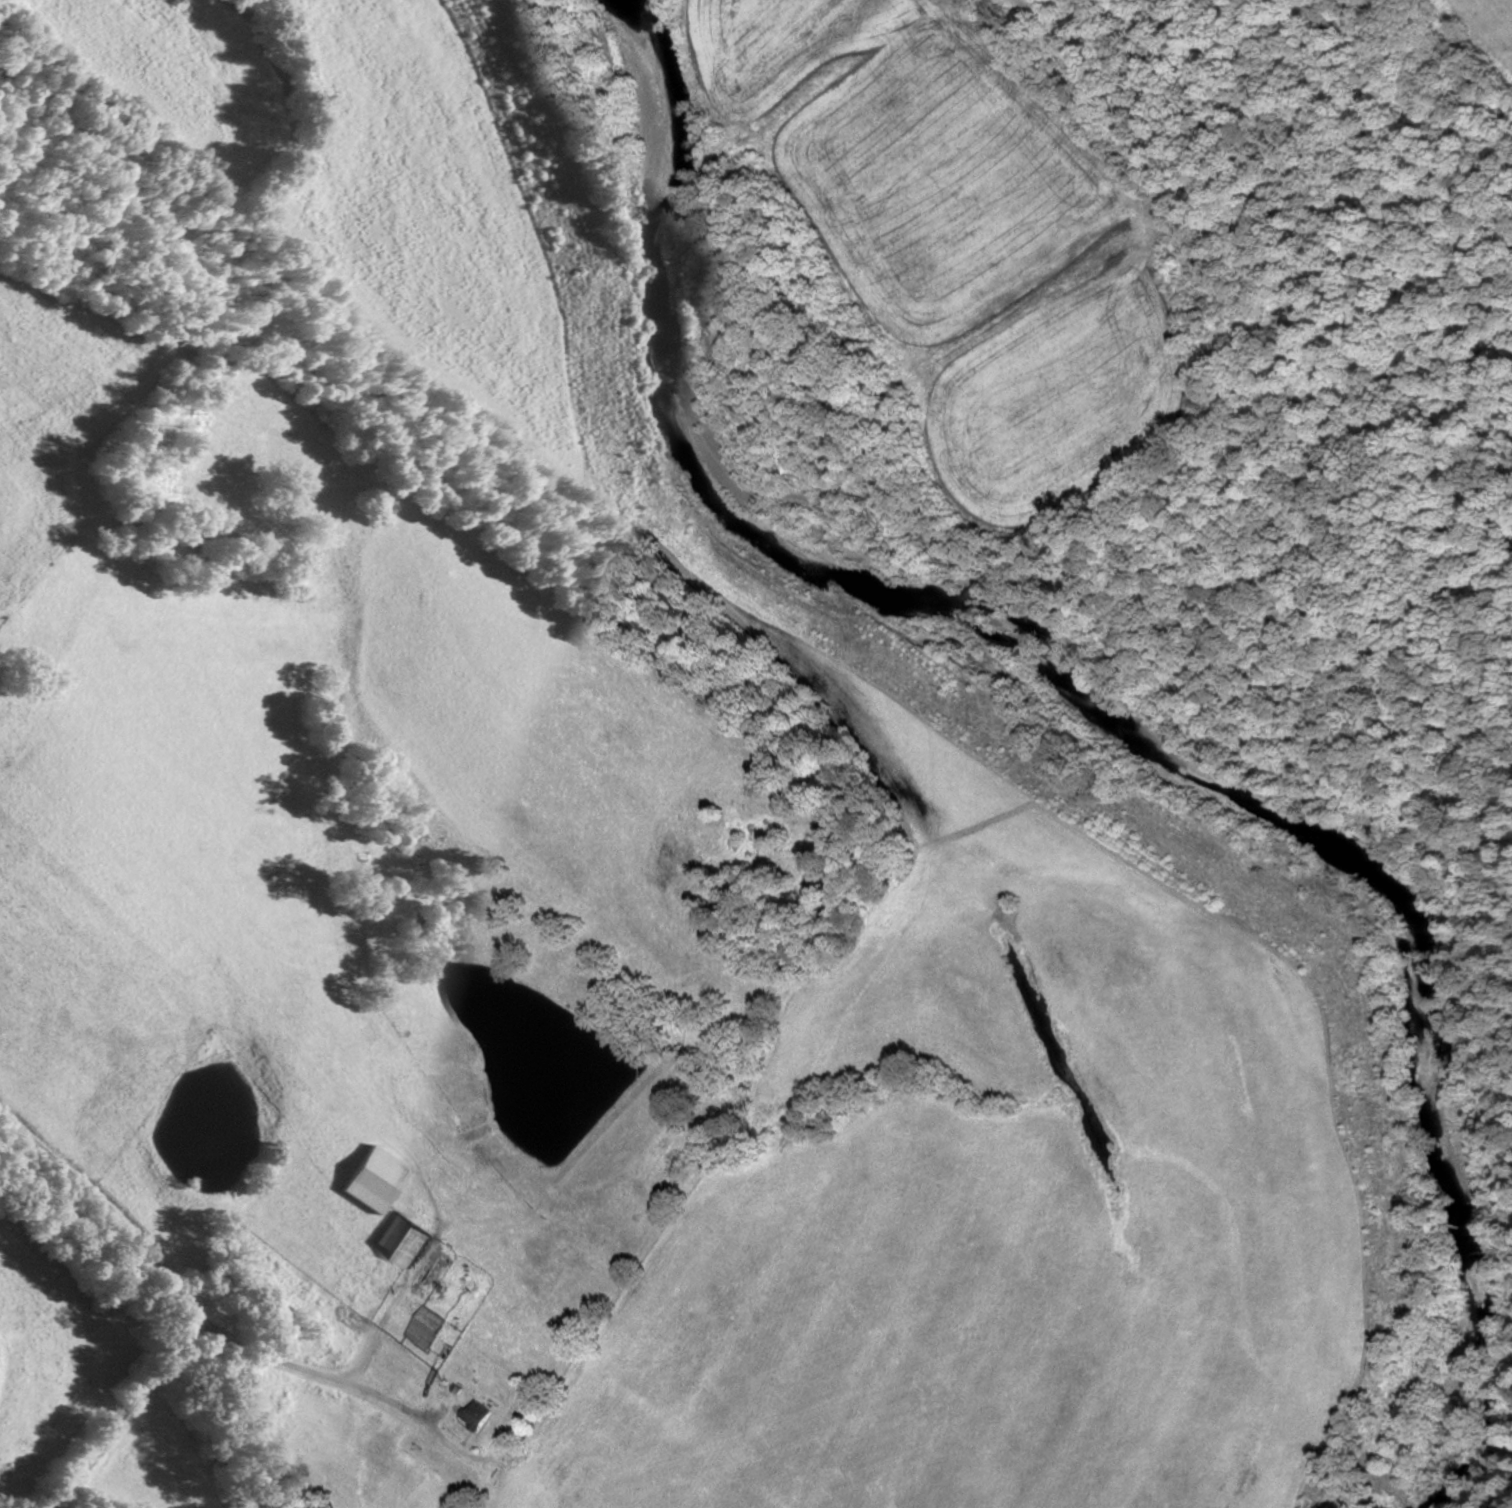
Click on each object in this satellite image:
building: (374, 1179)
building: (402, 1239)
road: (171, 1294)
building: (423, 1327)
road: (309, 1361)
building: (474, 1415)

